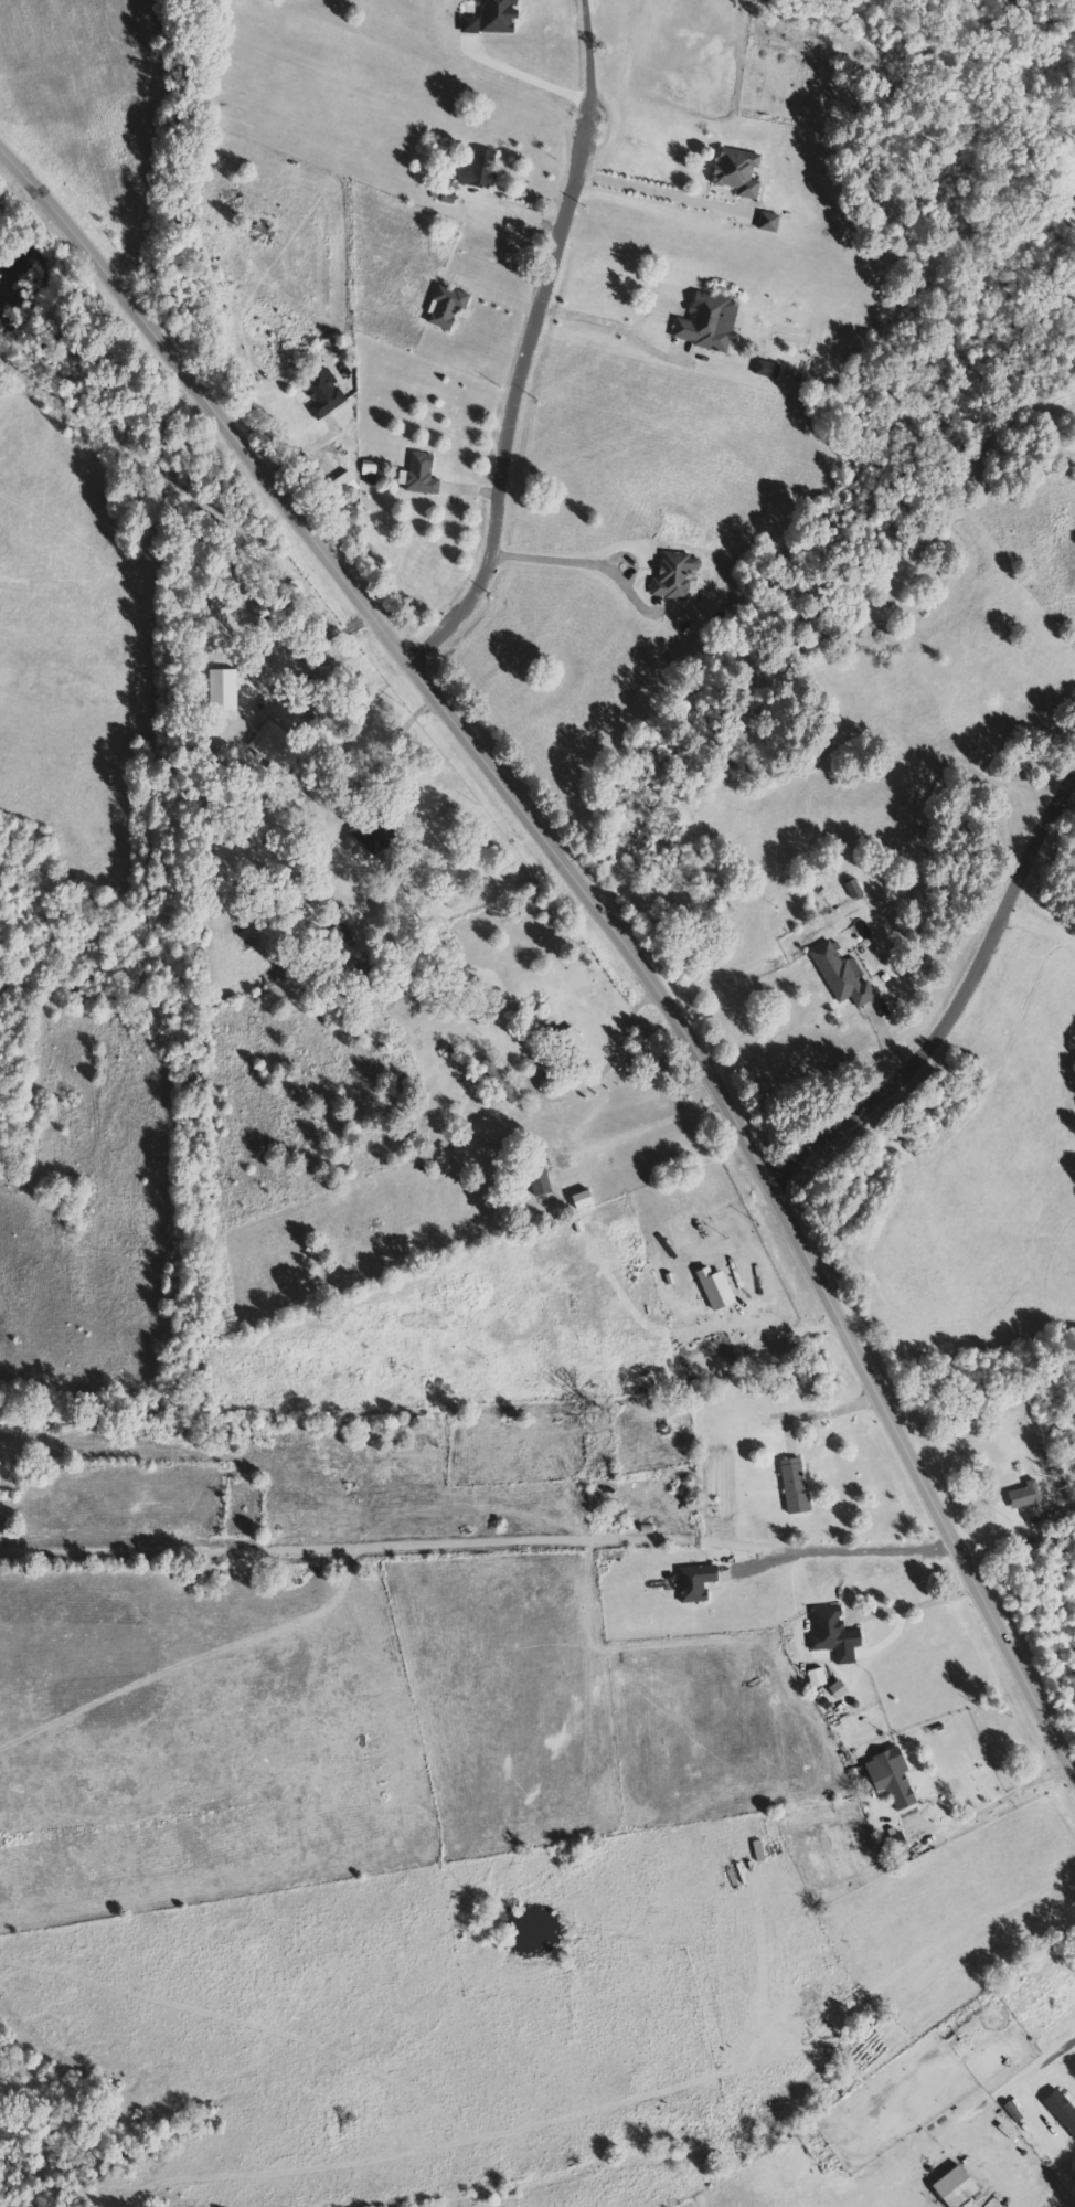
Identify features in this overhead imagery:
building: (500, 15)
building: (482, 169)
building: (739, 172)
building: (770, 222)
building: (448, 307)
building: (710, 322)
road: (615, 323)
road: (526, 340)
building: (768, 369)
building: (327, 394)
building: (371, 467)
building: (422, 475)
building: (349, 485)
road: (620, 553)
road: (550, 556)
building: (675, 575)
building: (370, 838)
building: (855, 889)
road: (598, 909)
building: (843, 975)
road: (959, 1015)
building: (572, 1038)
road: (615, 1058)
building: (586, 1200)
building: (796, 1486)
building: (1026, 1496)
building: (698, 1583)
building: (834, 1635)
building: (817, 1677)
building: (840, 1690)
building: (894, 1779)
building: (900, 1843)
road: (1040, 2058)
building: (1062, 2109)
building: (1017, 2114)
building: (958, 2187)

